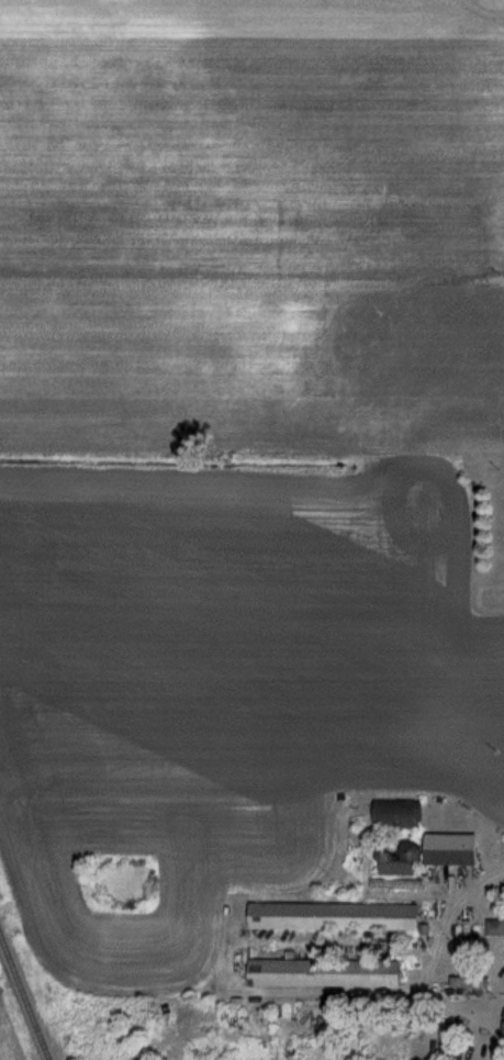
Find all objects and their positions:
building: (455, 849)
building: (400, 863)
road: (477, 878)
building: (338, 916)
building: (496, 927)
building: (328, 972)
building: (472, 980)
railway: (25, 992)

